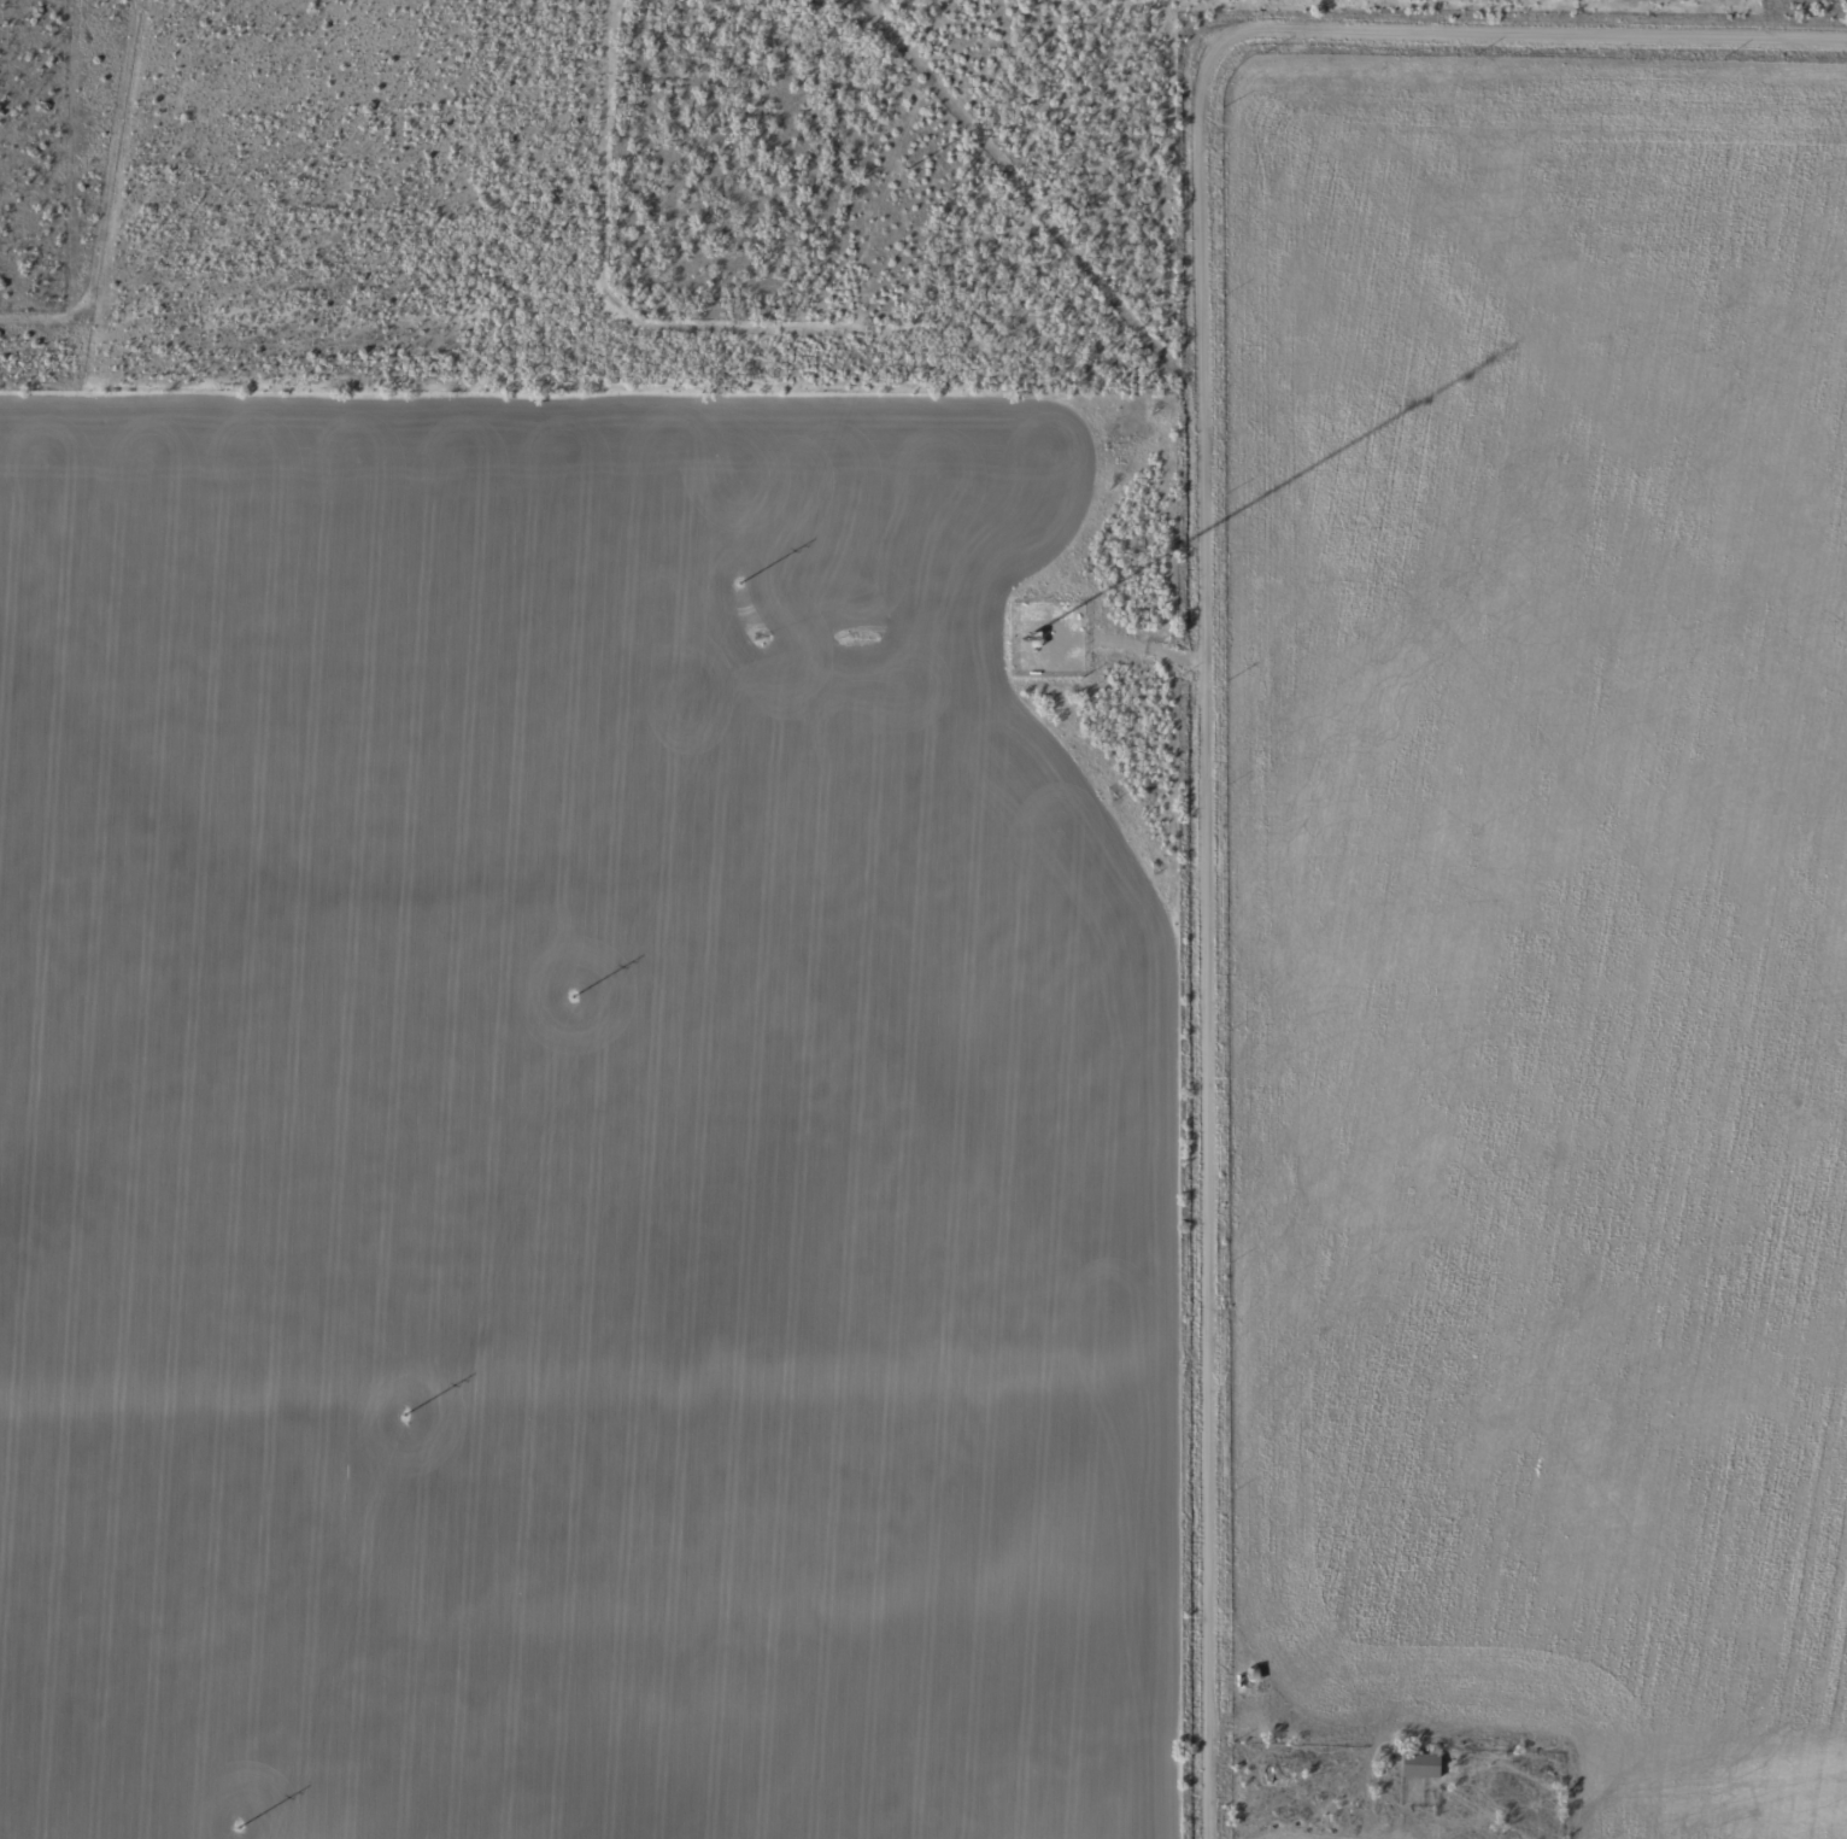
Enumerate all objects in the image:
road: (1378, 24)
power tower: (903, 176)
power tower: (735, 591)
road: (1189, 638)
power tower: (570, 1003)
power tower: (401, 1422)
building: (1415, 1765)
building: (1270, 1774)
power tower: (235, 1834)

